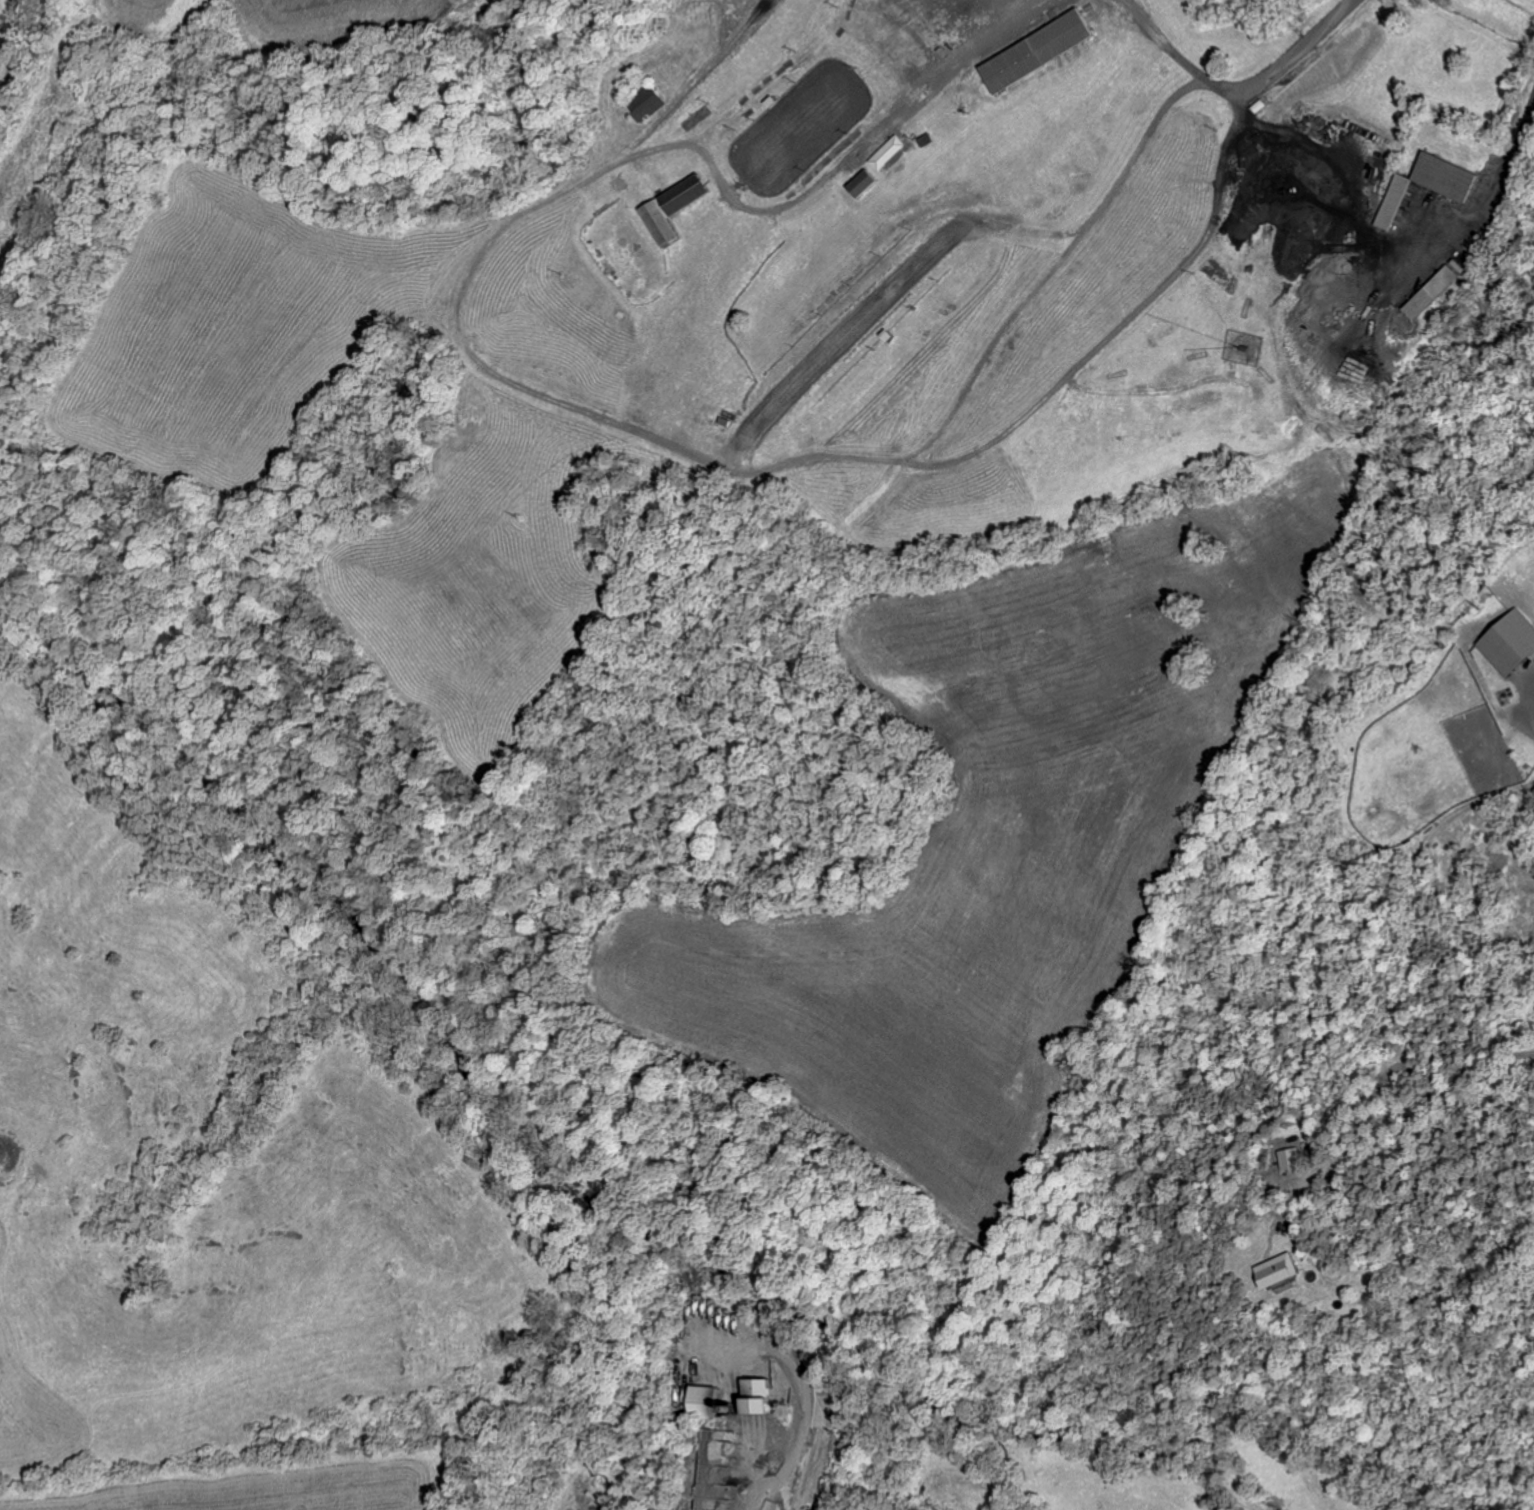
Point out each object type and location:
road: (1163, 40)
building: (1041, 52)
road: (27, 55)
road: (1286, 59)
building: (646, 104)
building: (889, 154)
building: (1448, 179)
building: (865, 185)
building: (1395, 203)
road: (1479, 206)
building: (676, 210)
building: (1436, 294)
road: (1123, 332)
road: (533, 387)
building: (1512, 644)
building: (1293, 1159)
building: (1281, 1272)
building: (757, 1397)
road: (805, 1399)
building: (704, 1403)

